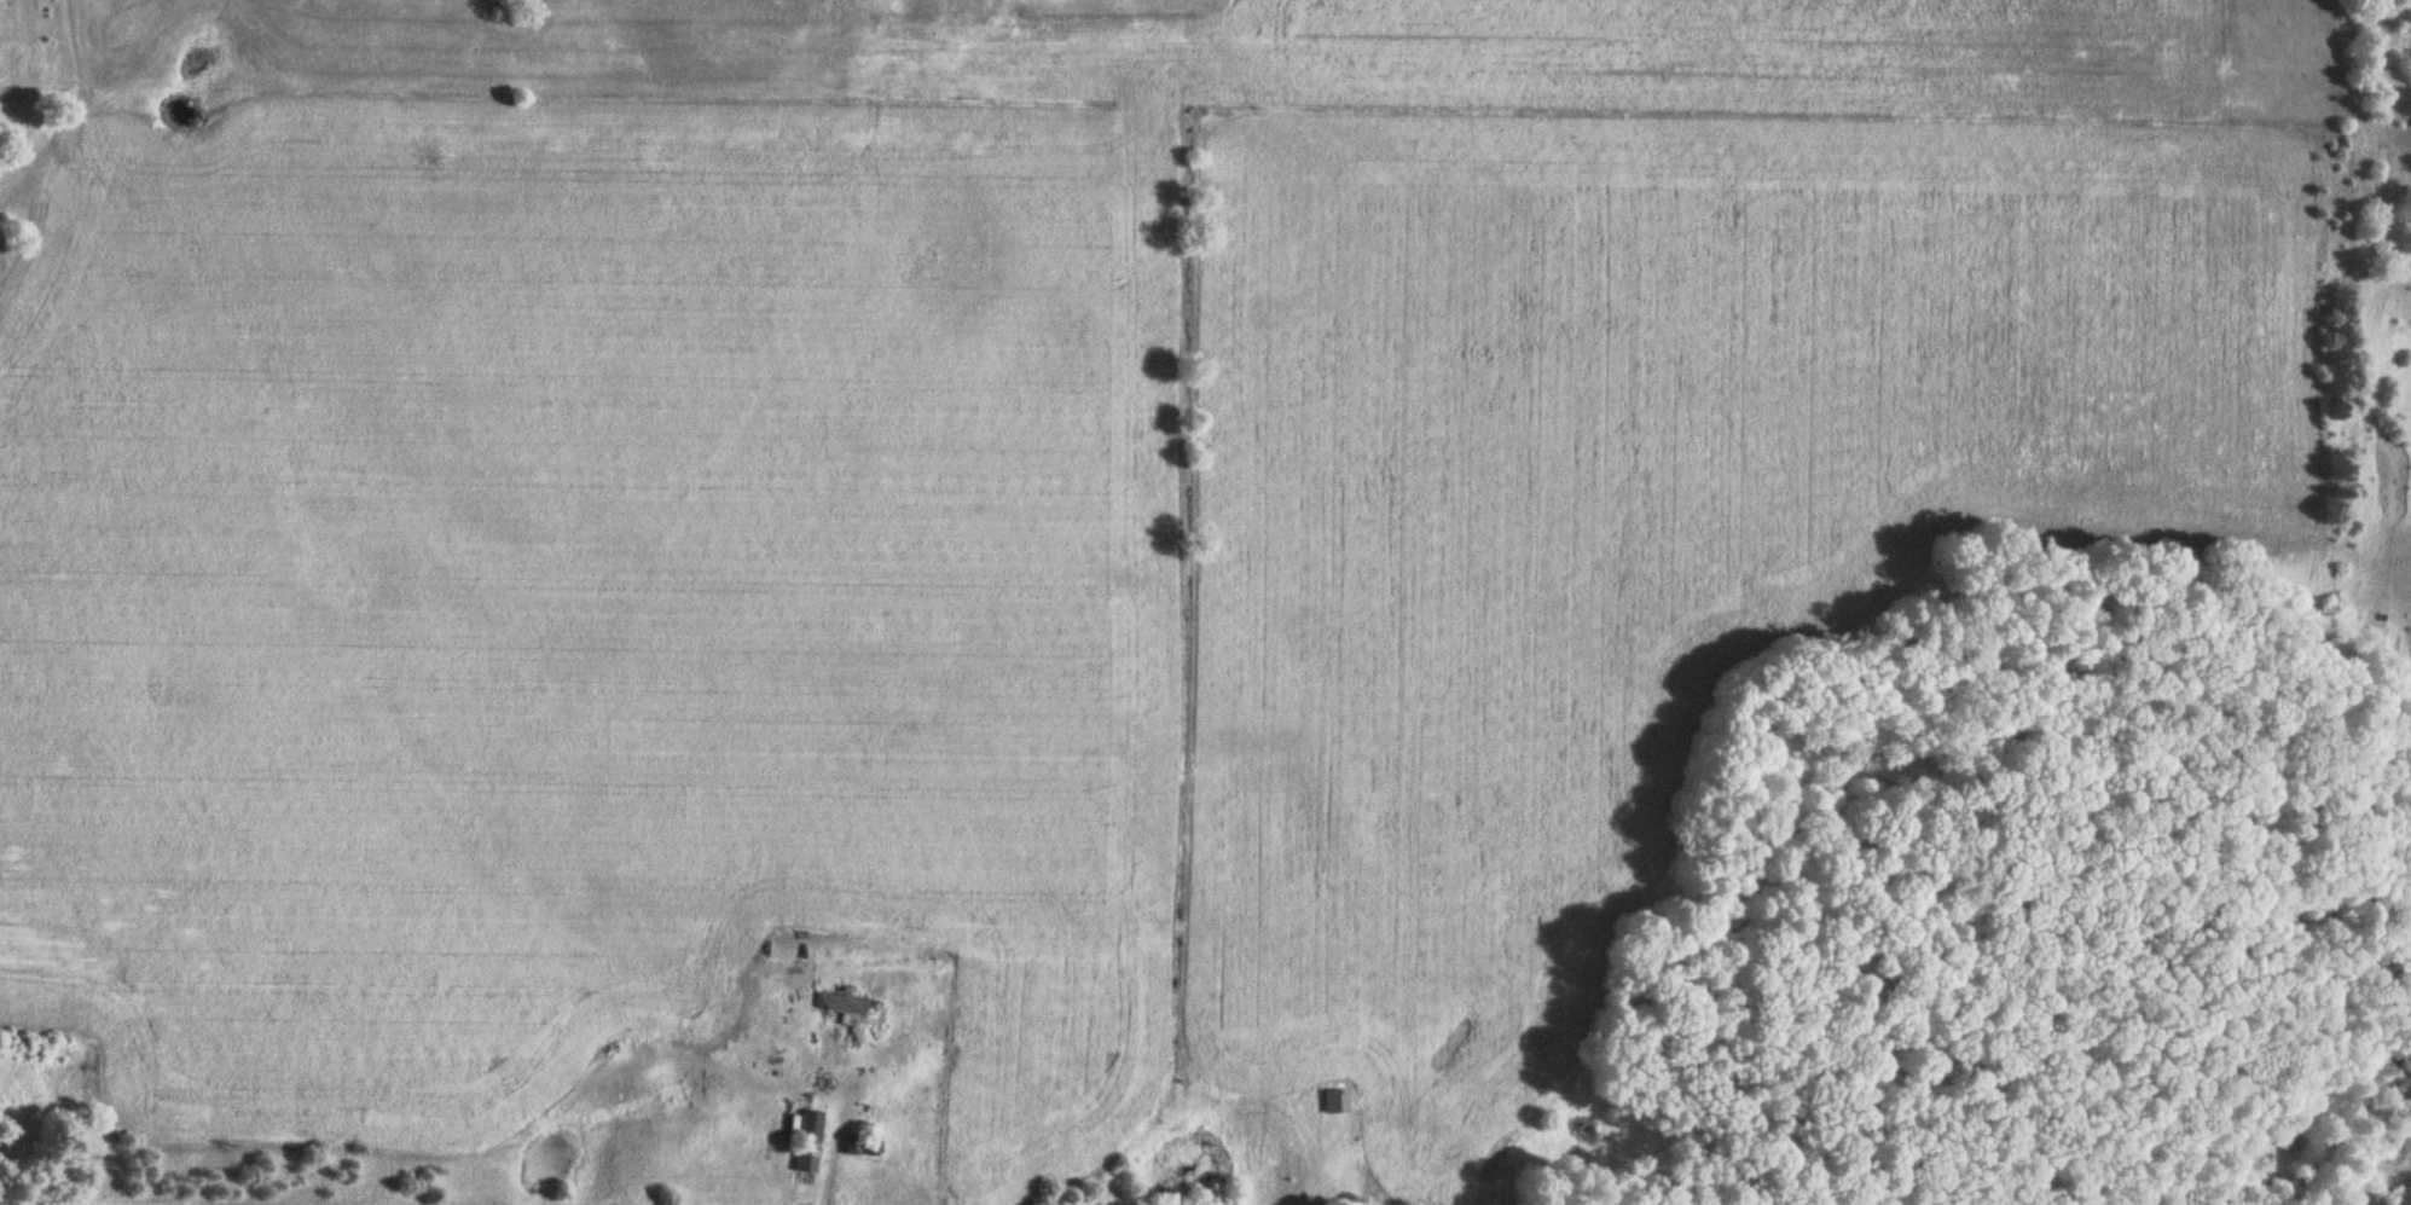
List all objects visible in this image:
building: (847, 1016)
building: (1333, 1096)
building: (806, 1141)
building: (853, 1147)

